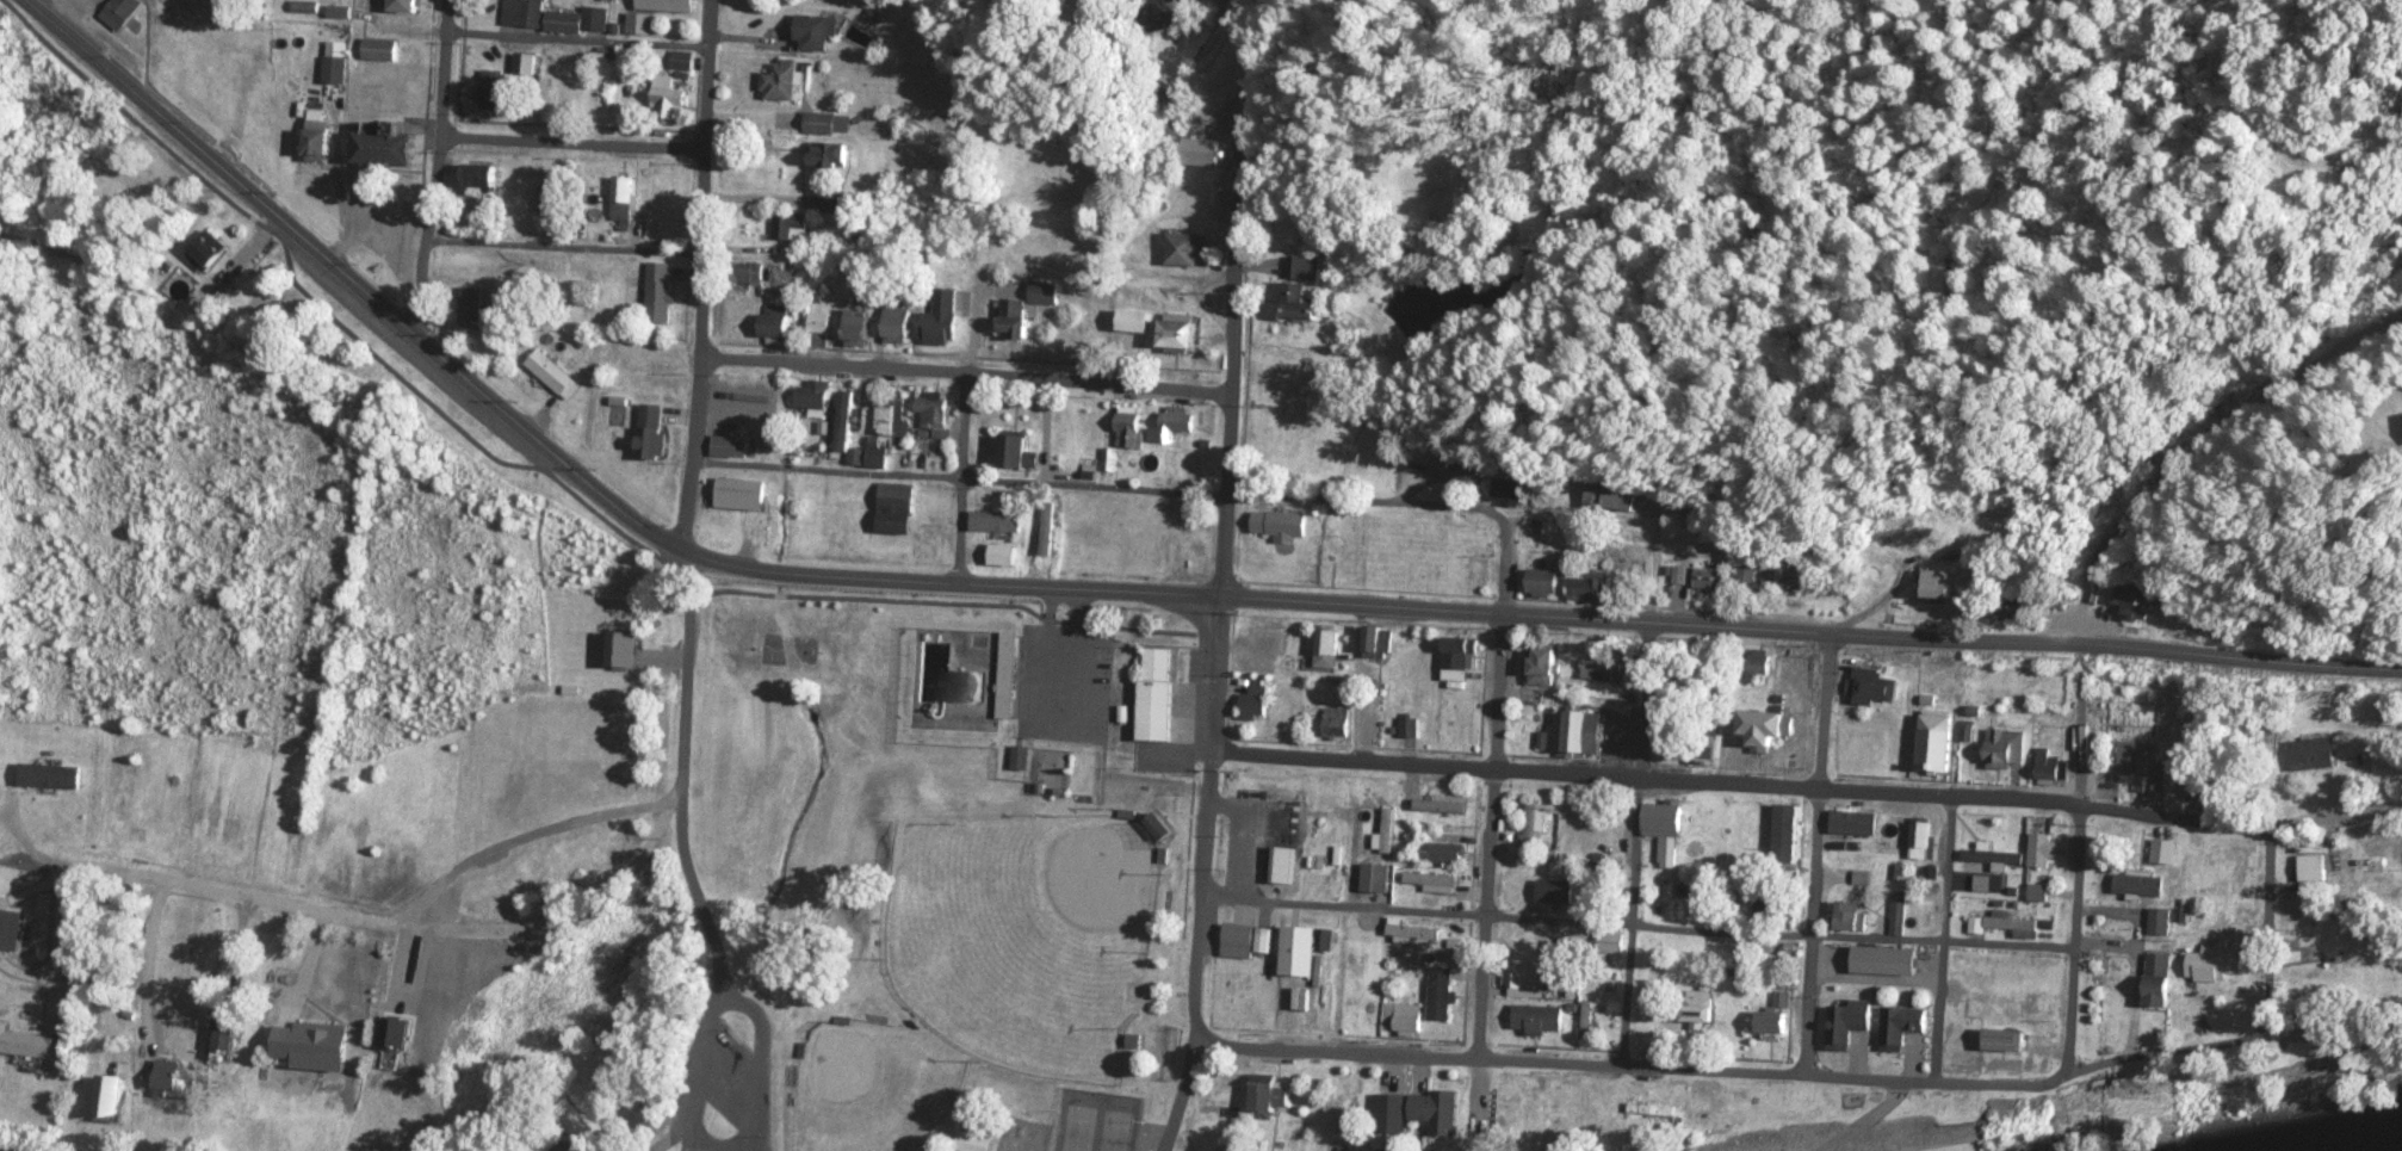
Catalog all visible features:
building: (670, 6)
building: (411, 7)
building: (123, 11)
building: (525, 13)
building: (880, 18)
building: (578, 23)
building: (643, 24)
building: (819, 33)
road: (578, 39)
building: (384, 50)
building: (527, 66)
building: (785, 81)
building: (497, 89)
building: (611, 89)
building: (665, 107)
building: (264, 111)
building: (786, 122)
building: (830, 123)
building: (321, 141)
road: (574, 143)
building: (390, 146)
building: (1208, 154)
building: (831, 156)
road: (439, 169)
building: (553, 202)
building: (625, 203)
building: (835, 203)
building: (792, 229)
road: (564, 248)
building: (1187, 250)
building: (210, 253)
road: (701, 274)
building: (756, 277)
road: (355, 284)
building: (1304, 291)
building: (1046, 292)
building: (663, 293)
building: (472, 309)
building: (945, 320)
building: (1017, 320)
building: (1134, 322)
building: (899, 327)
building: (781, 328)
building: (862, 330)
building: (1182, 336)
road: (973, 349)
building: (553, 375)
road: (965, 376)
building: (817, 396)
building: (936, 414)
building: (894, 417)
building: (847, 419)
building: (1131, 428)
building: (1174, 428)
building: (652, 443)
building: (731, 447)
building: (1020, 453)
road: (962, 479)
road: (1175, 491)
building: (1509, 491)
building: (747, 493)
building: (1615, 496)
building: (900, 510)
road: (1226, 522)
building: (999, 524)
building: (1281, 525)
building: (1050, 531)
building: (1196, 550)
building: (1350, 552)
building: (1004, 557)
building: (1797, 576)
building: (1547, 583)
building: (1710, 583)
building: (1589, 588)
building: (1943, 590)
building: (2137, 601)
road: (1547, 617)
road: (1067, 631)
building: (1270, 637)
park: (792, 650)
building: (1327, 651)
road: (1647, 651)
building: (625, 652)
building: (1375, 652)
building: (1462, 656)
building: (1766, 664)
building: (1548, 669)
building: (1009, 677)
parking lot: (1063, 681)
building: (1875, 688)
building: (1159, 695)
building: (1257, 705)
building: (2180, 707)
building: (2057, 719)
building: (1339, 724)
building: (1412, 730)
road: (1064, 732)
building: (1769, 732)
building: (1587, 734)
building: (1940, 745)
building: (2006, 750)
building: (2313, 754)
building: (1021, 759)
building: (2144, 765)
building: (2049, 766)
building: (52, 776)
building: (2198, 784)
road: (1493, 786)
road: (1809, 788)
building: (1412, 793)
building: (1450, 803)
building: (1666, 821)
building: (1535, 824)
building: (1164, 828)
building: (1387, 833)
building: (1778, 833)
building: (1924, 840)
building: (1442, 850)
building: (2045, 850)
building: (2166, 853)
road: (1815, 854)
building: (1992, 860)
building: (2367, 864)
road: (686, 870)
building: (2313, 870)
park: (929, 875)
building: (1379, 878)
building: (1432, 879)
road: (2079, 879)
building: (2141, 885)
building: (1558, 893)
building: (2041, 893)
road: (1419, 910)
building: (1770, 911)
building: (1900, 915)
building: (1853, 916)
road: (1634, 921)
road: (366, 922)
building: (2162, 922)
building: (2002, 924)
building: (11, 929)
building: (1416, 934)
park: (1026, 937)
road: (1856, 939)
road: (1948, 940)
building: (1249, 941)
building: (1308, 949)
building: (1456, 957)
building: (1890, 961)
building: (2217, 964)
building: (1776, 966)
building: (2162, 980)
building: (1444, 995)
building: (2028, 1003)
building: (1704, 1015)
building: (1781, 1015)
building: (1406, 1019)
building: (1541, 1020)
building: (1852, 1023)
building: (1908, 1026)
building: (290, 1031)
road: (2278, 1032)
building: (231, 1035)
building: (1987, 1041)
building: (31, 1044)
road: (1640, 1063)
road: (705, 1071)
parking lot: (733, 1079)
park: (871, 1087)
building: (1275, 1094)
road: (1184, 1097)
building: (119, 1100)
building: (1441, 1112)
building: (1399, 1118)
park: (1079, 1128)
park: (1115, 1131)
building: (980, 1143)
road: (717, 1145)
road: (692, 1149)

